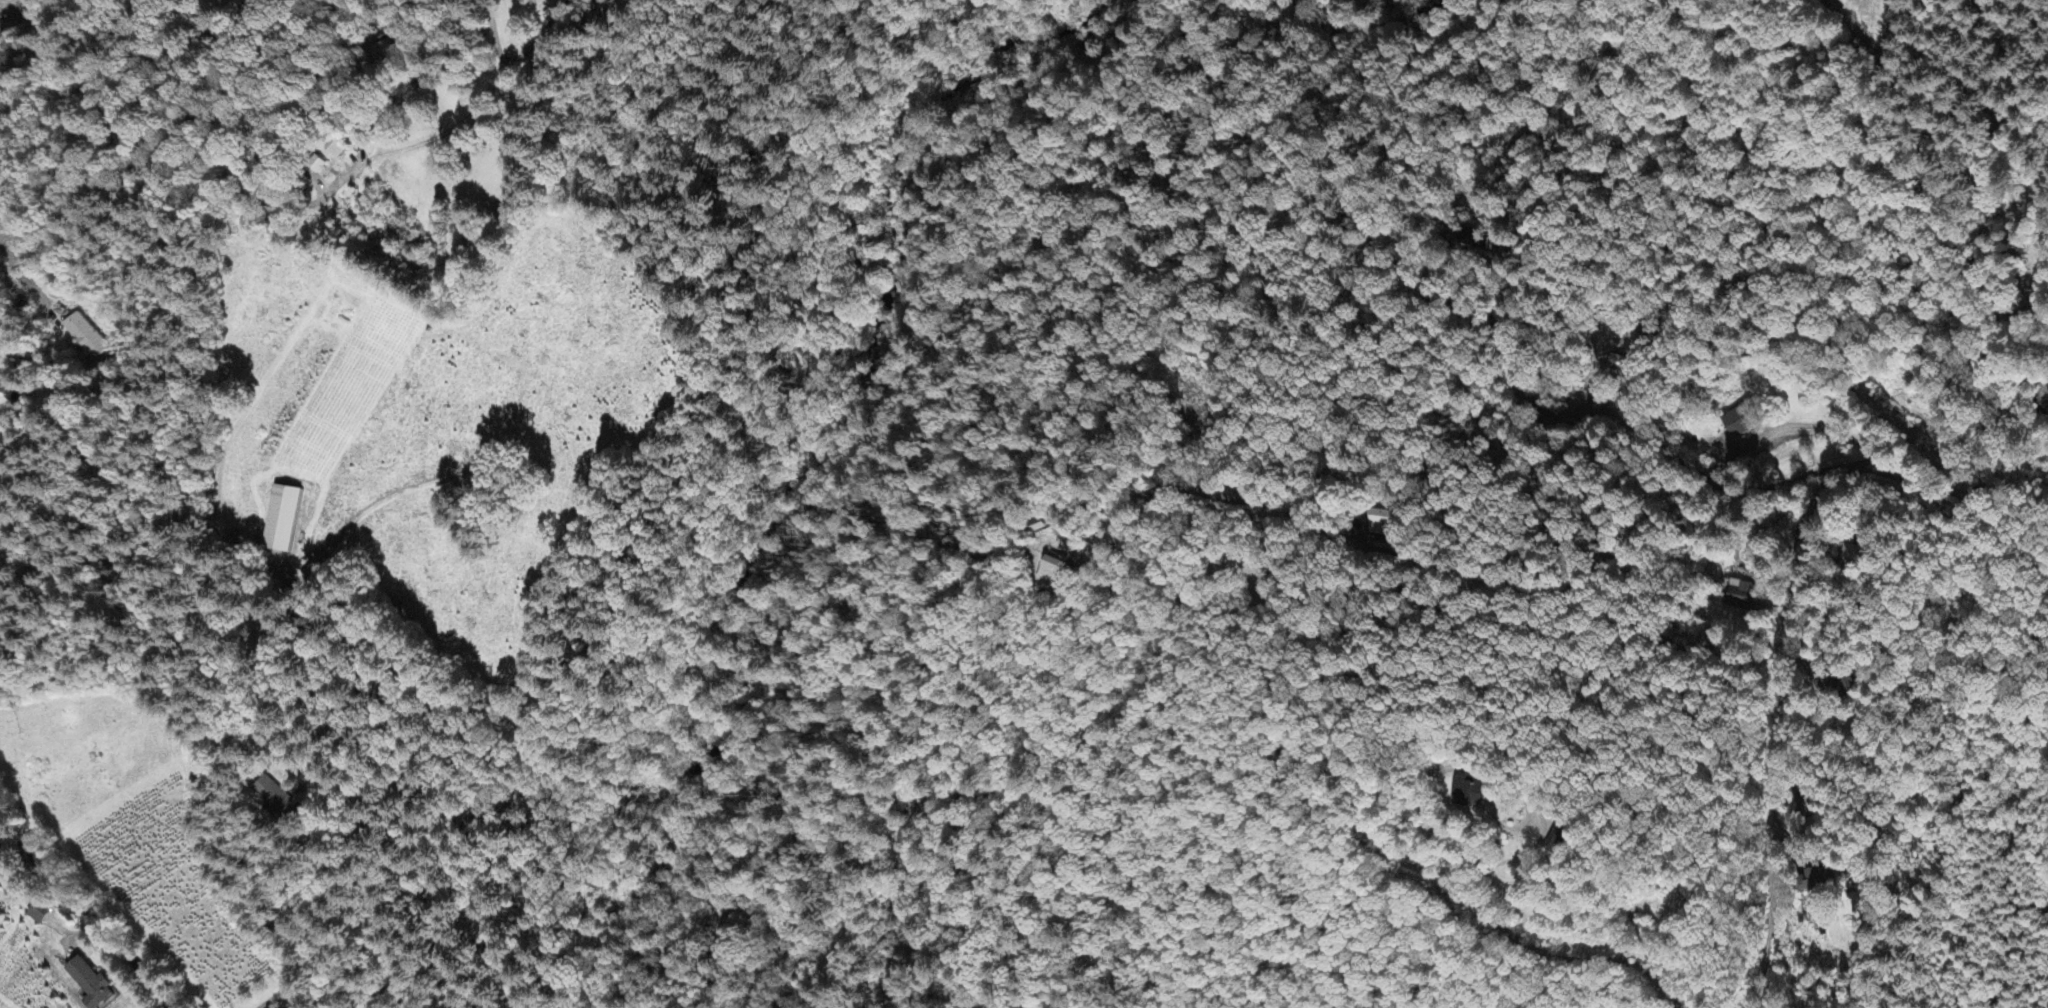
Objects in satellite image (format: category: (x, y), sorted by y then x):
road: (292, 135)
road: (1925, 199)
road: (1996, 244)
road: (20, 276)
building: (1736, 424)
road: (1813, 426)
building: (1386, 518)
building: (279, 521)
building: (1856, 557)
building: (1051, 573)
building: (1739, 594)
road: (1793, 610)
building: (1466, 793)
building: (274, 799)
building: (1823, 879)
road: (84, 910)
road: (1524, 943)
building: (86, 985)

